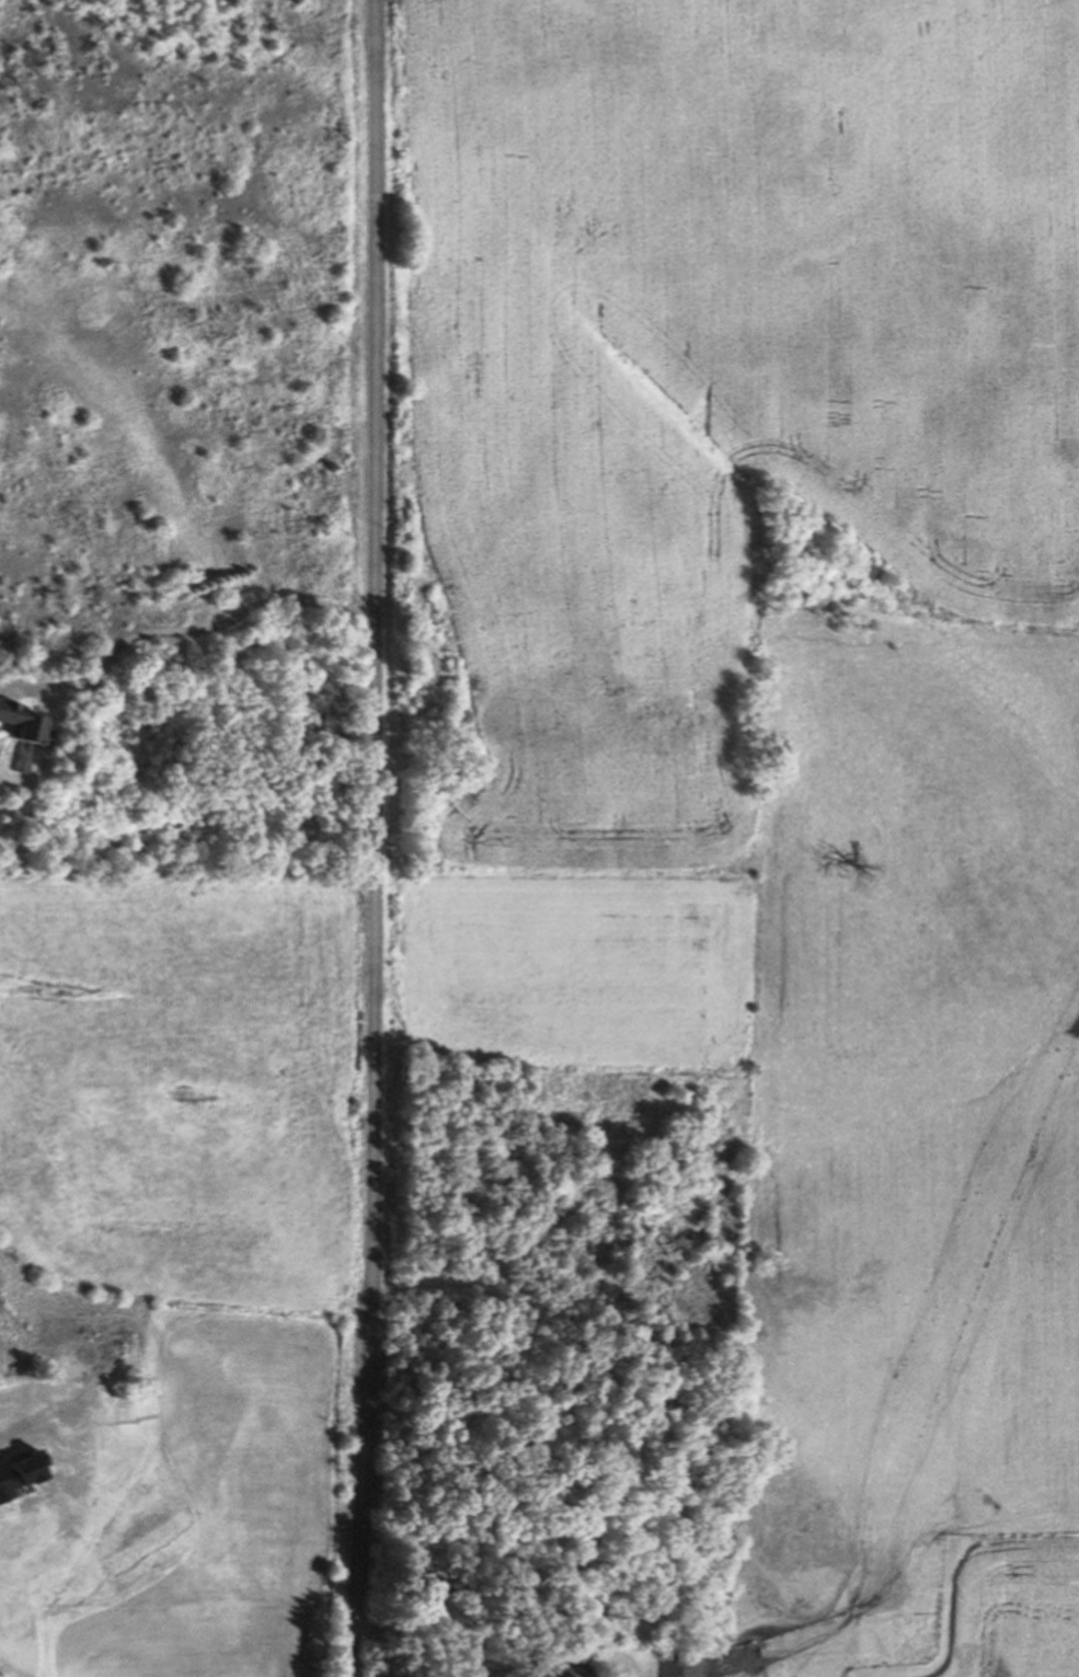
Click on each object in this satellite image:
road: (185, 632)
building: (542, 709)
building: (24, 722)
road: (371, 838)
building: (435, 1583)
building: (611, 1607)
building: (676, 1664)
building: (566, 1665)

